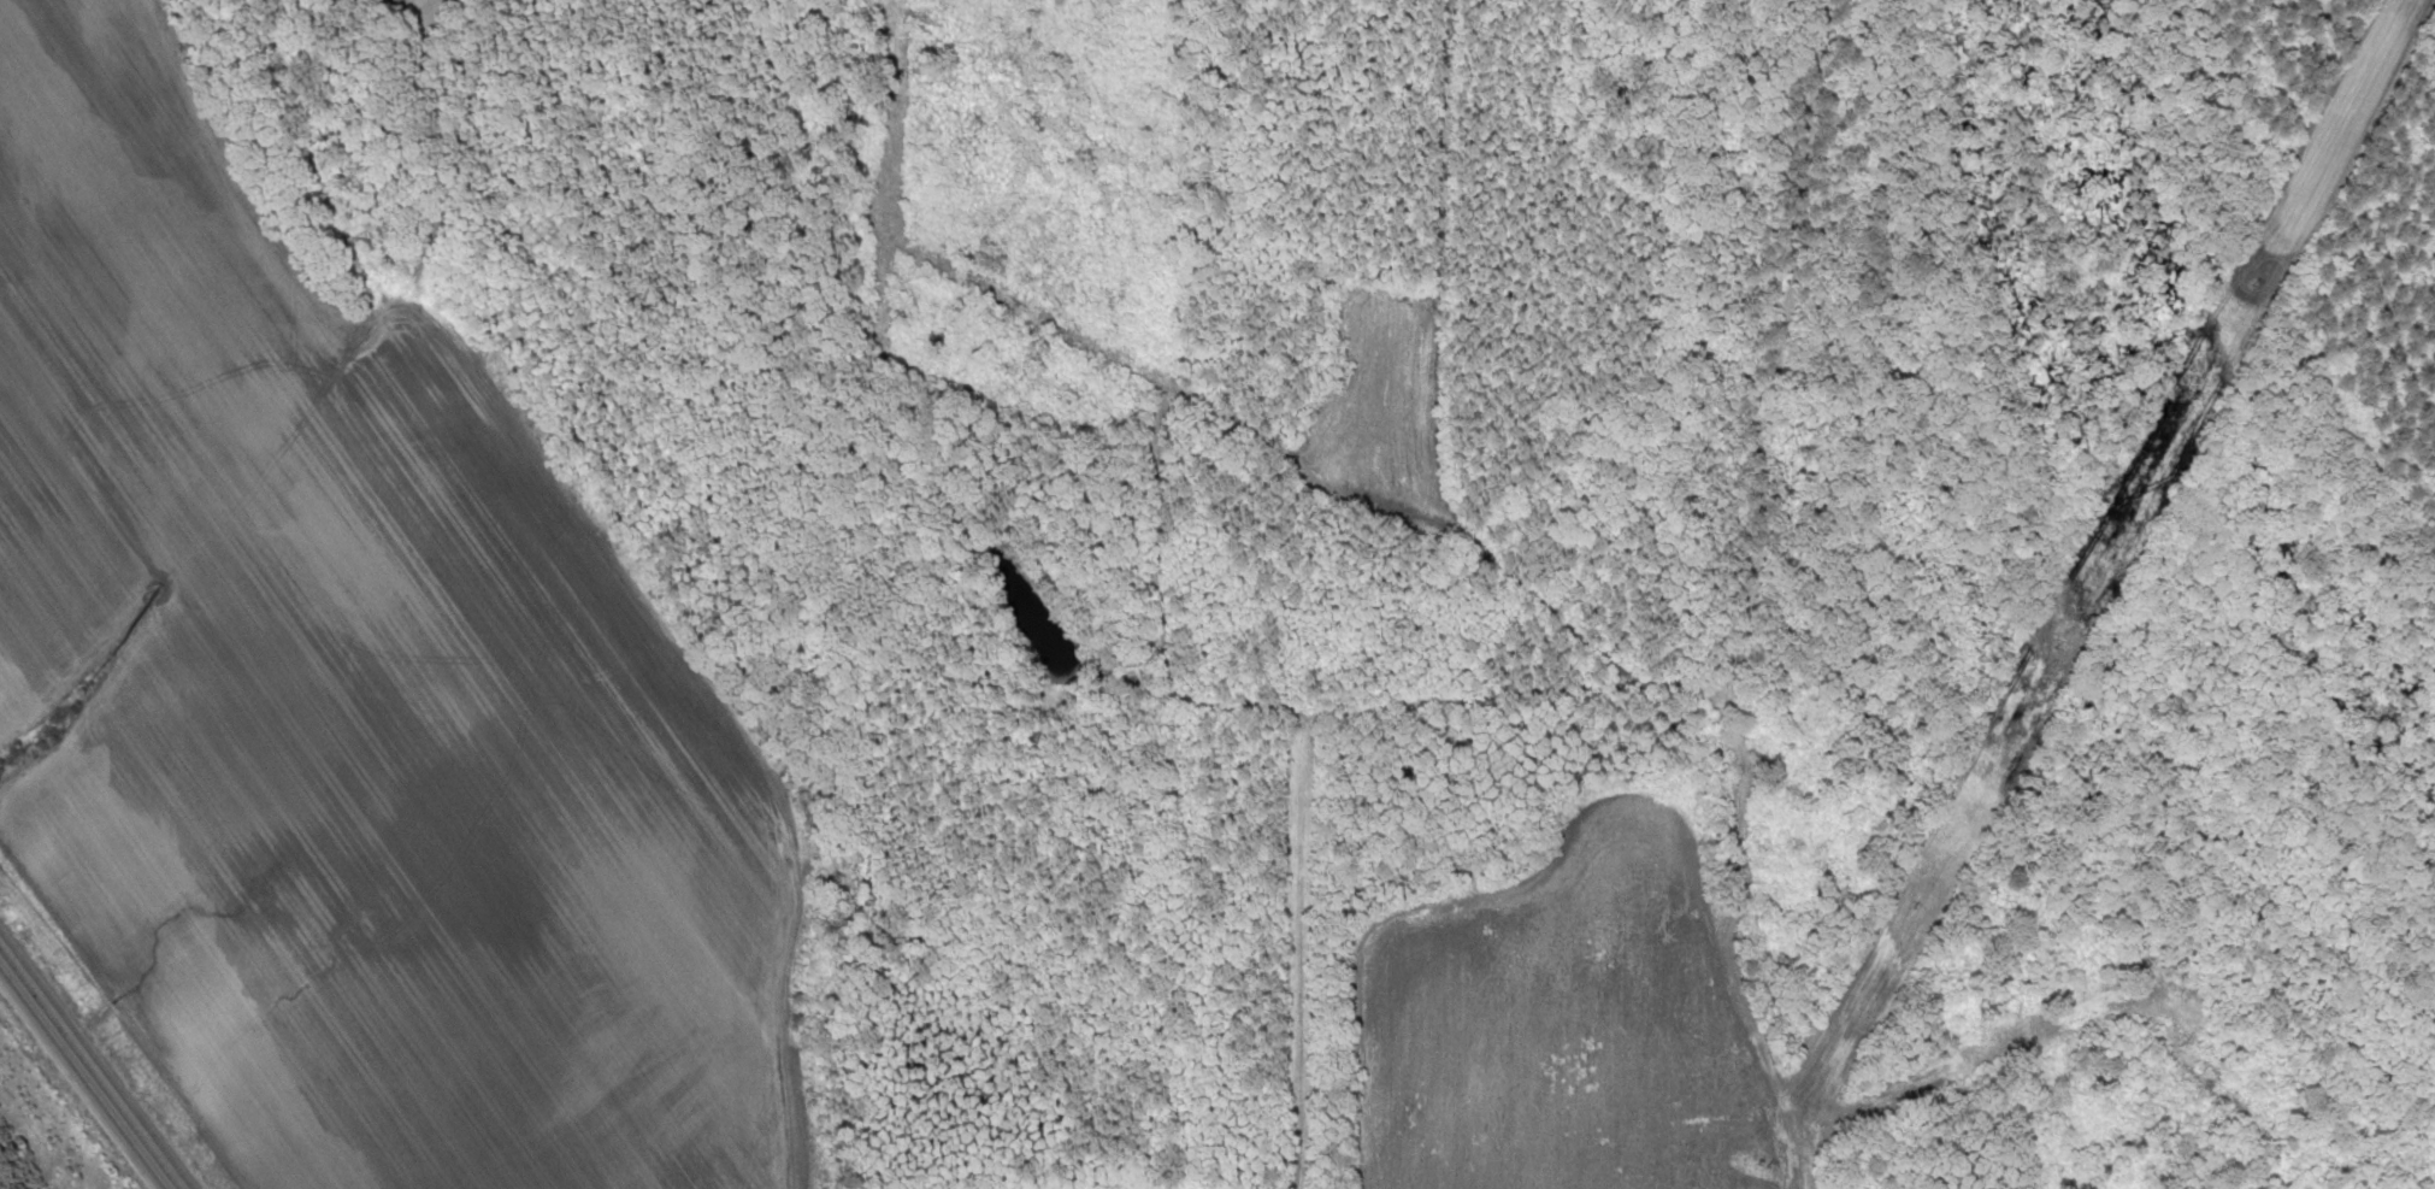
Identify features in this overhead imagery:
railway: (82, 1078)

